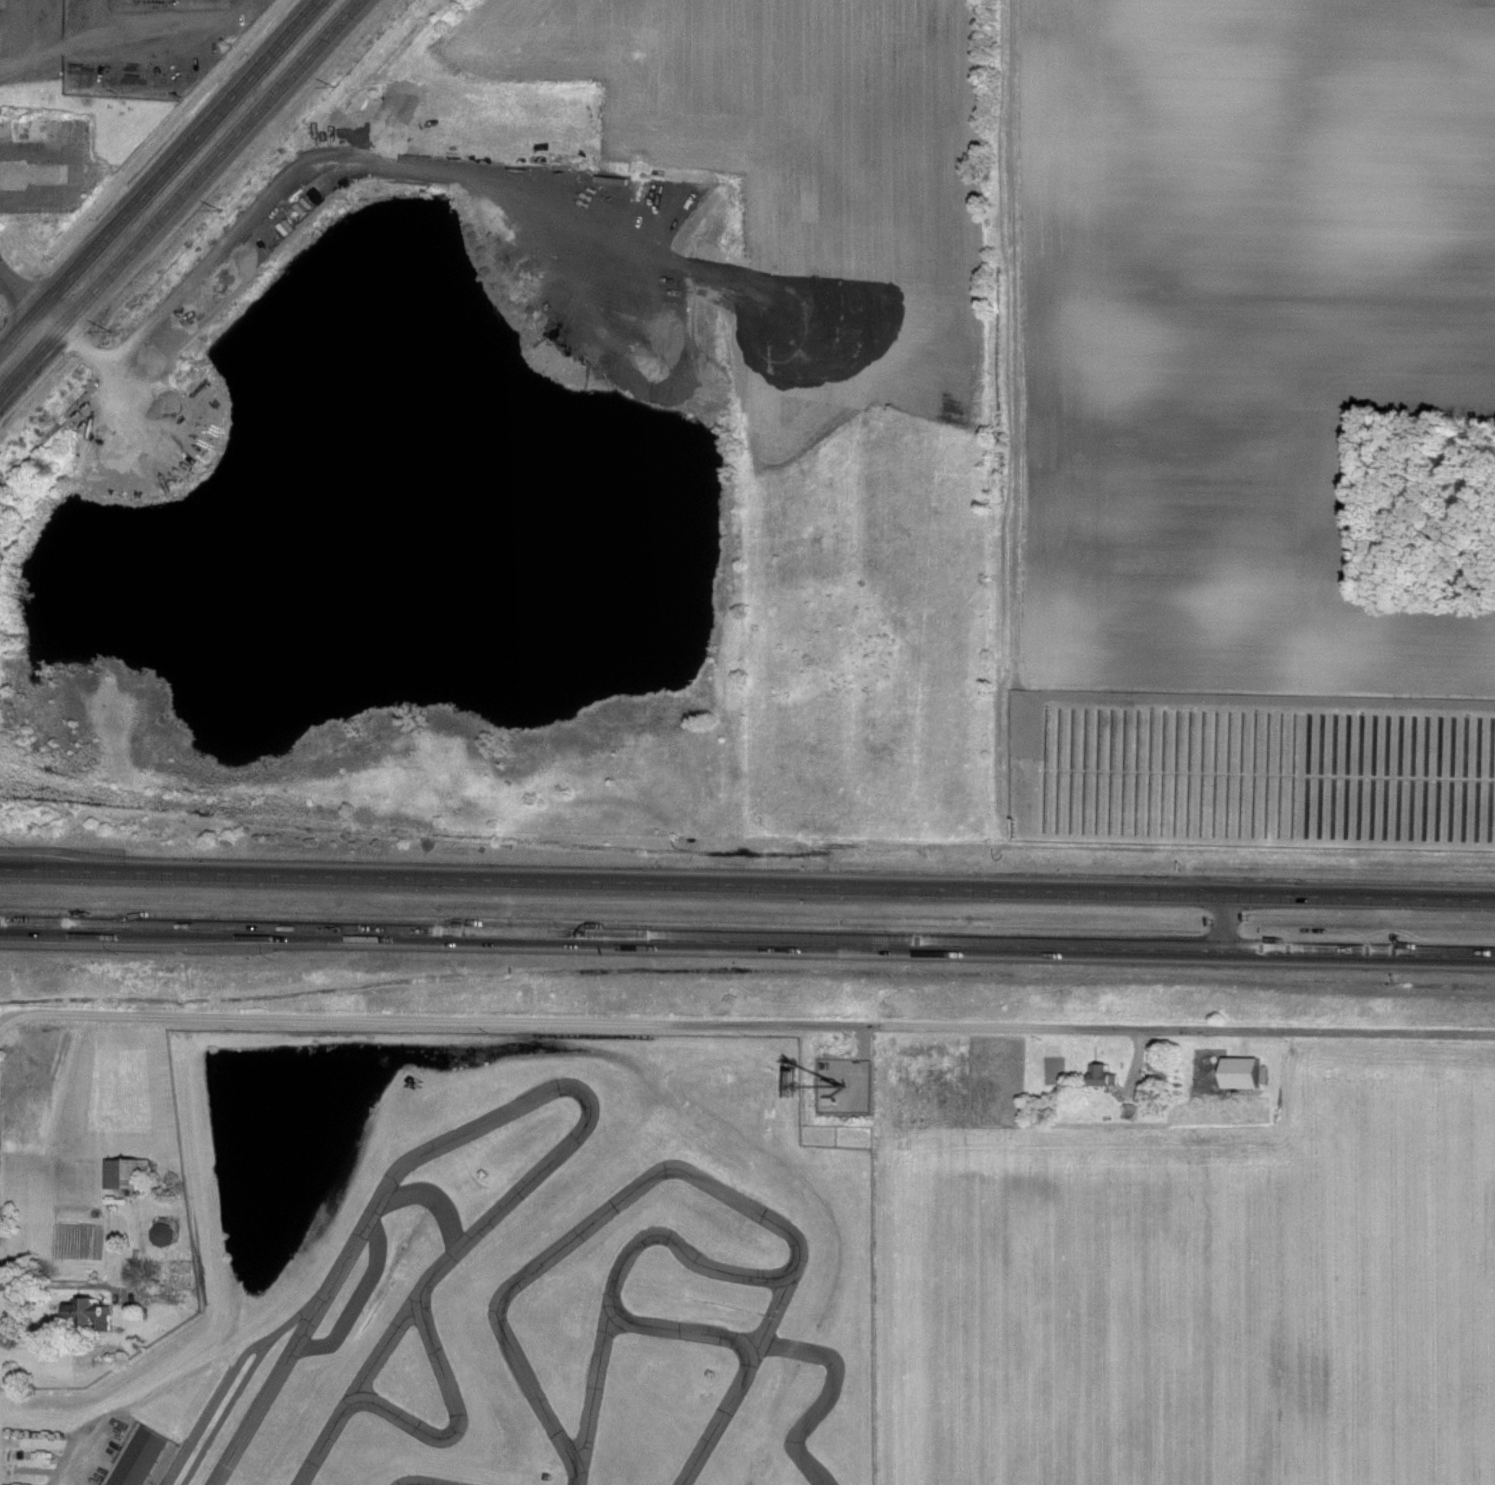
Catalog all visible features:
parking lot: (112, 34)
road: (135, 66)
road: (178, 154)
road: (214, 164)
road: (4, 281)
road: (21, 291)
road: (50, 317)
road: (21, 333)
road: (29, 357)
road: (1013, 374)
solar farm: (1267, 769)
road: (747, 885)
road: (1221, 923)
road: (747, 940)
road: (747, 1024)
raceway: (488, 1036)
road: (1139, 1057)
road: (866, 1063)
building: (1239, 1074)
building: (1100, 1076)
raceway: (548, 1090)
building: (122, 1172)
building: (160, 1234)
raceway: (374, 1239)
raceway: (792, 1239)
building: (86, 1316)
raceway: (773, 1316)
raceway: (236, 1378)
raceway: (594, 1381)
raceway: (832, 1395)
raceway: (455, 1418)
road: (76, 1454)
building: (141, 1459)
raceway: (414, 1484)

